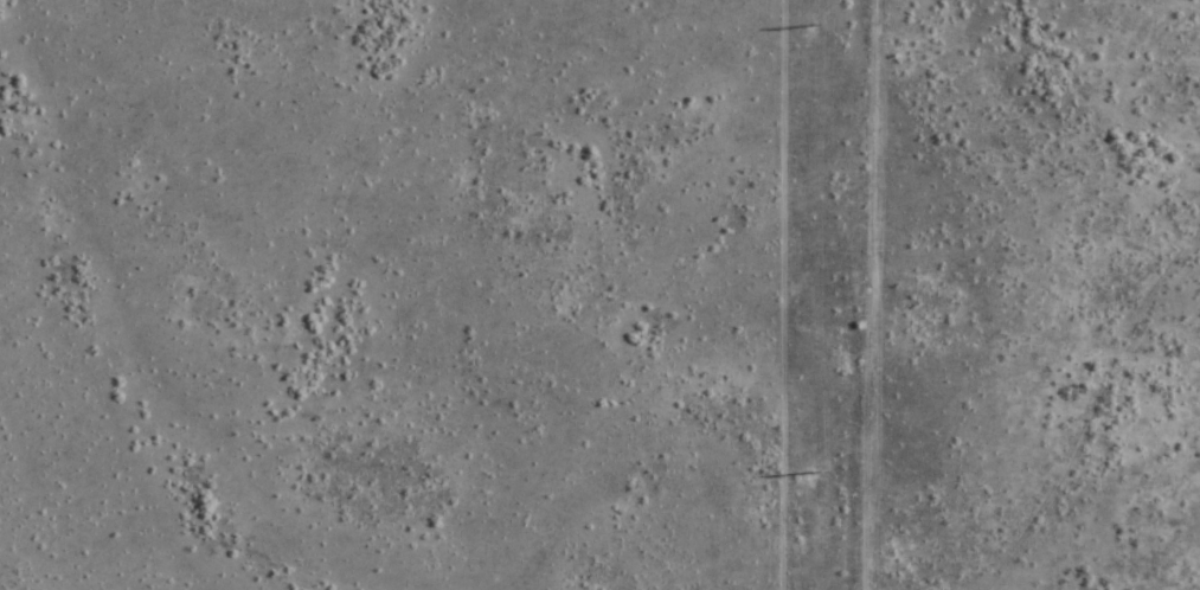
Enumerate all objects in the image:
power tower: (811, 24)
power tower: (814, 472)

